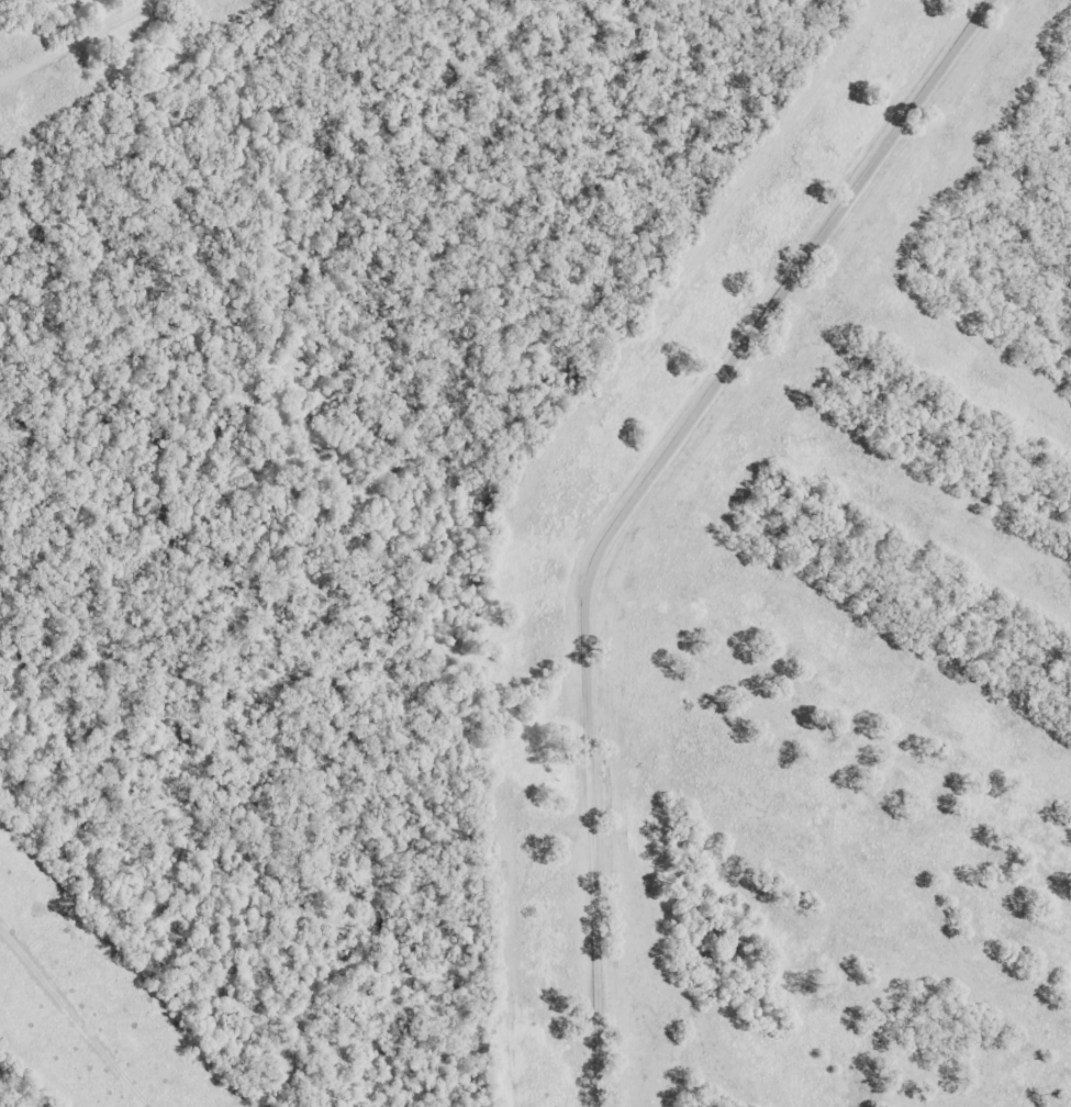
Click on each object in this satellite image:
road: (683, 516)
road: (42, 1060)

